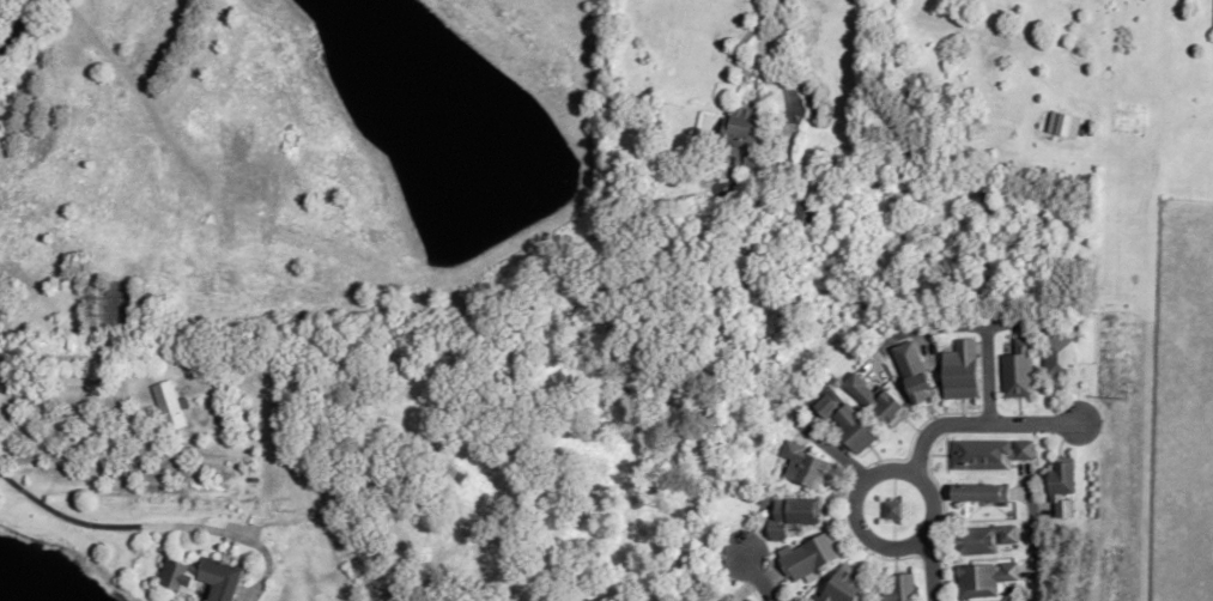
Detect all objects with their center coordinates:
road: (16, 24)
road: (784, 78)
building: (747, 135)
building: (805, 214)
building: (1060, 350)
building: (1018, 370)
building: (962, 371)
building: (914, 372)
building: (878, 400)
building: (168, 405)
building: (827, 406)
road: (981, 419)
building: (855, 430)
building: (988, 453)
building: (809, 466)
building: (1063, 486)
building: (980, 493)
building: (893, 510)
building: (795, 516)
road: (109, 529)
building: (983, 540)
road: (1031, 540)
road: (887, 548)
building: (813, 558)
road: (928, 567)
road: (757, 573)
building: (201, 578)
building: (984, 579)
building: (845, 585)
building: (902, 588)
building: (727, 599)
building: (747, 600)

